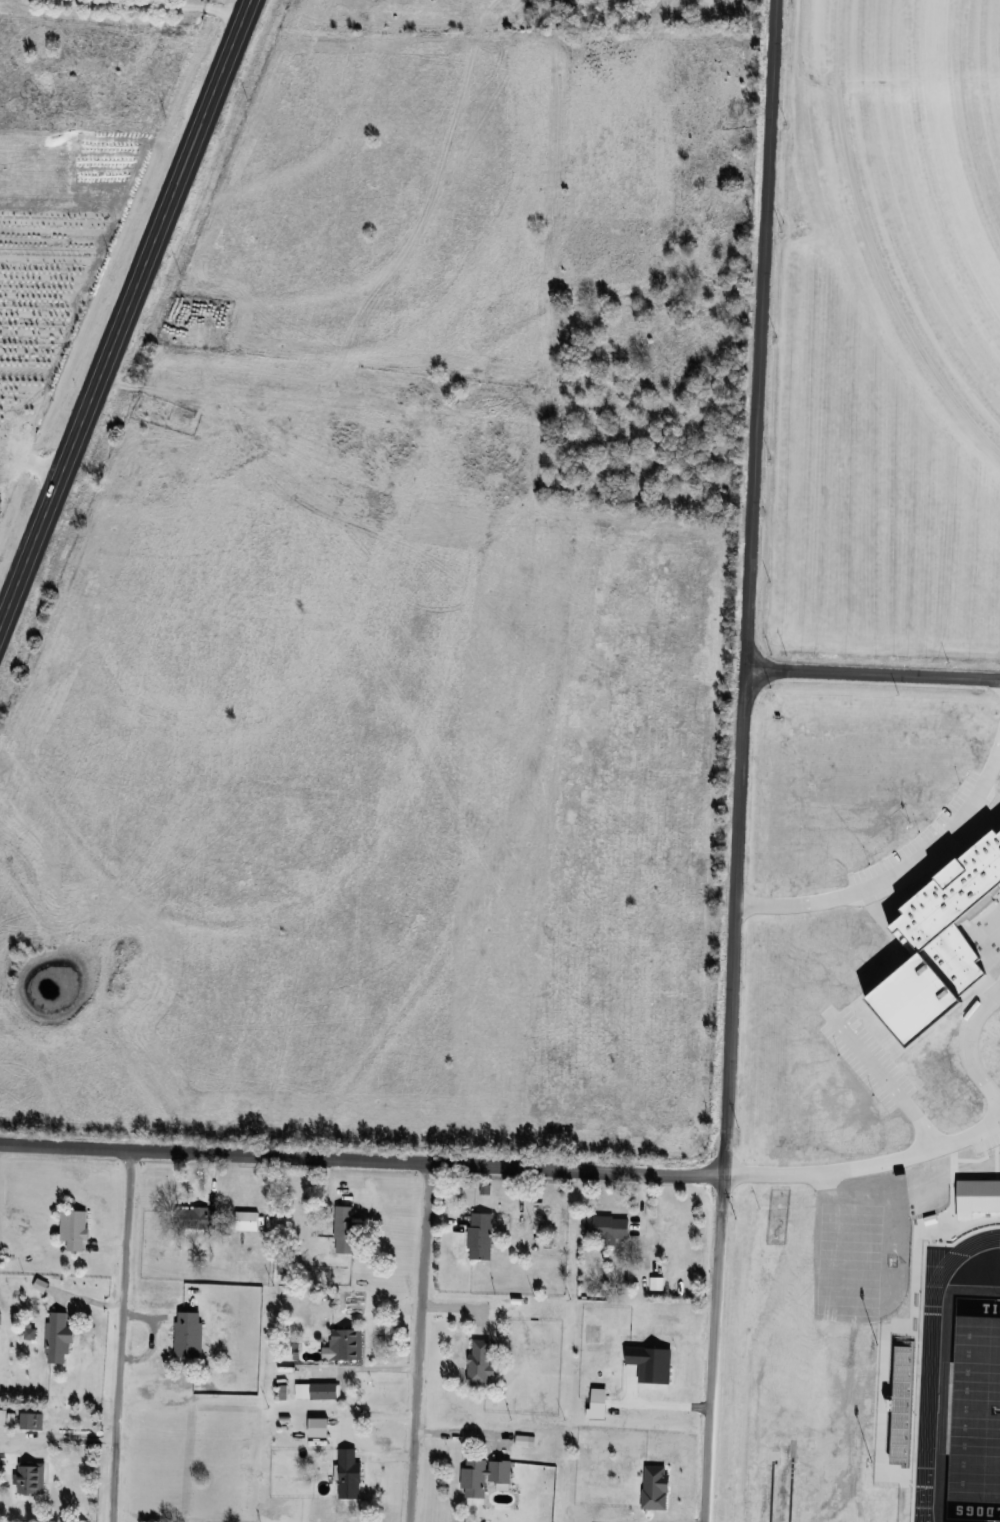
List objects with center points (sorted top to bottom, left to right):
road: (199, 2)
road: (128, 315)
road: (748, 584)
road: (872, 675)
road: (898, 877)
road: (970, 1043)
road: (891, 1086)
road: (361, 1160)
road: (864, 1163)
building: (203, 1218)
building: (246, 1221)
building: (607, 1228)
building: (74, 1230)
building: (346, 1230)
building: (481, 1236)
building: (0, 1258)
building: (189, 1334)
road: (120, 1336)
building: (59, 1337)
road: (420, 1343)
building: (345, 1344)
road: (714, 1345)
building: (481, 1361)
road: (372, 1368)
building: (318, 1390)
road: (660, 1408)
building: (2, 1415)
building: (31, 1420)
road: (461, 1433)
building: (525, 1440)
building: (502, 1471)
building: (350, 1474)
building: (31, 1477)
building: (475, 1478)

